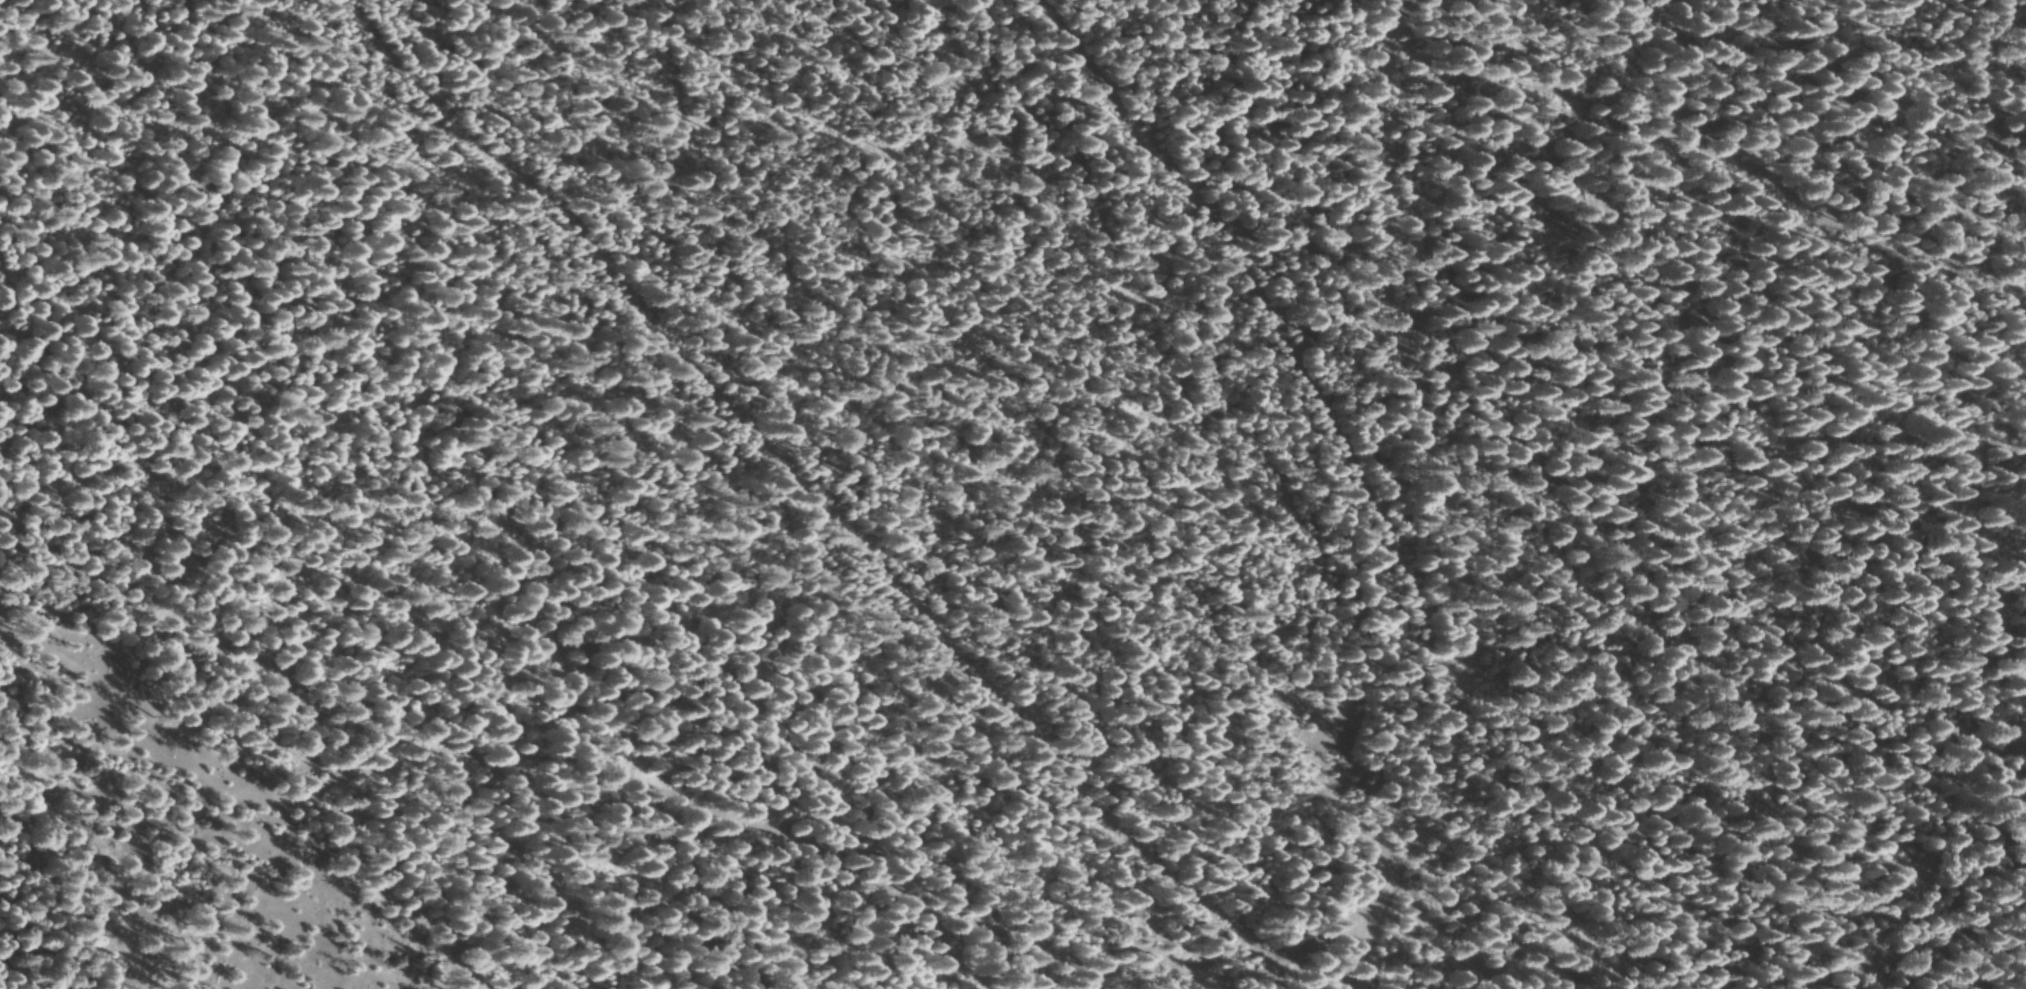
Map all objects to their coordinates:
road: (1236, 320)
road: (804, 488)
road: (1414, 496)
road: (548, 798)
road: (1218, 977)

